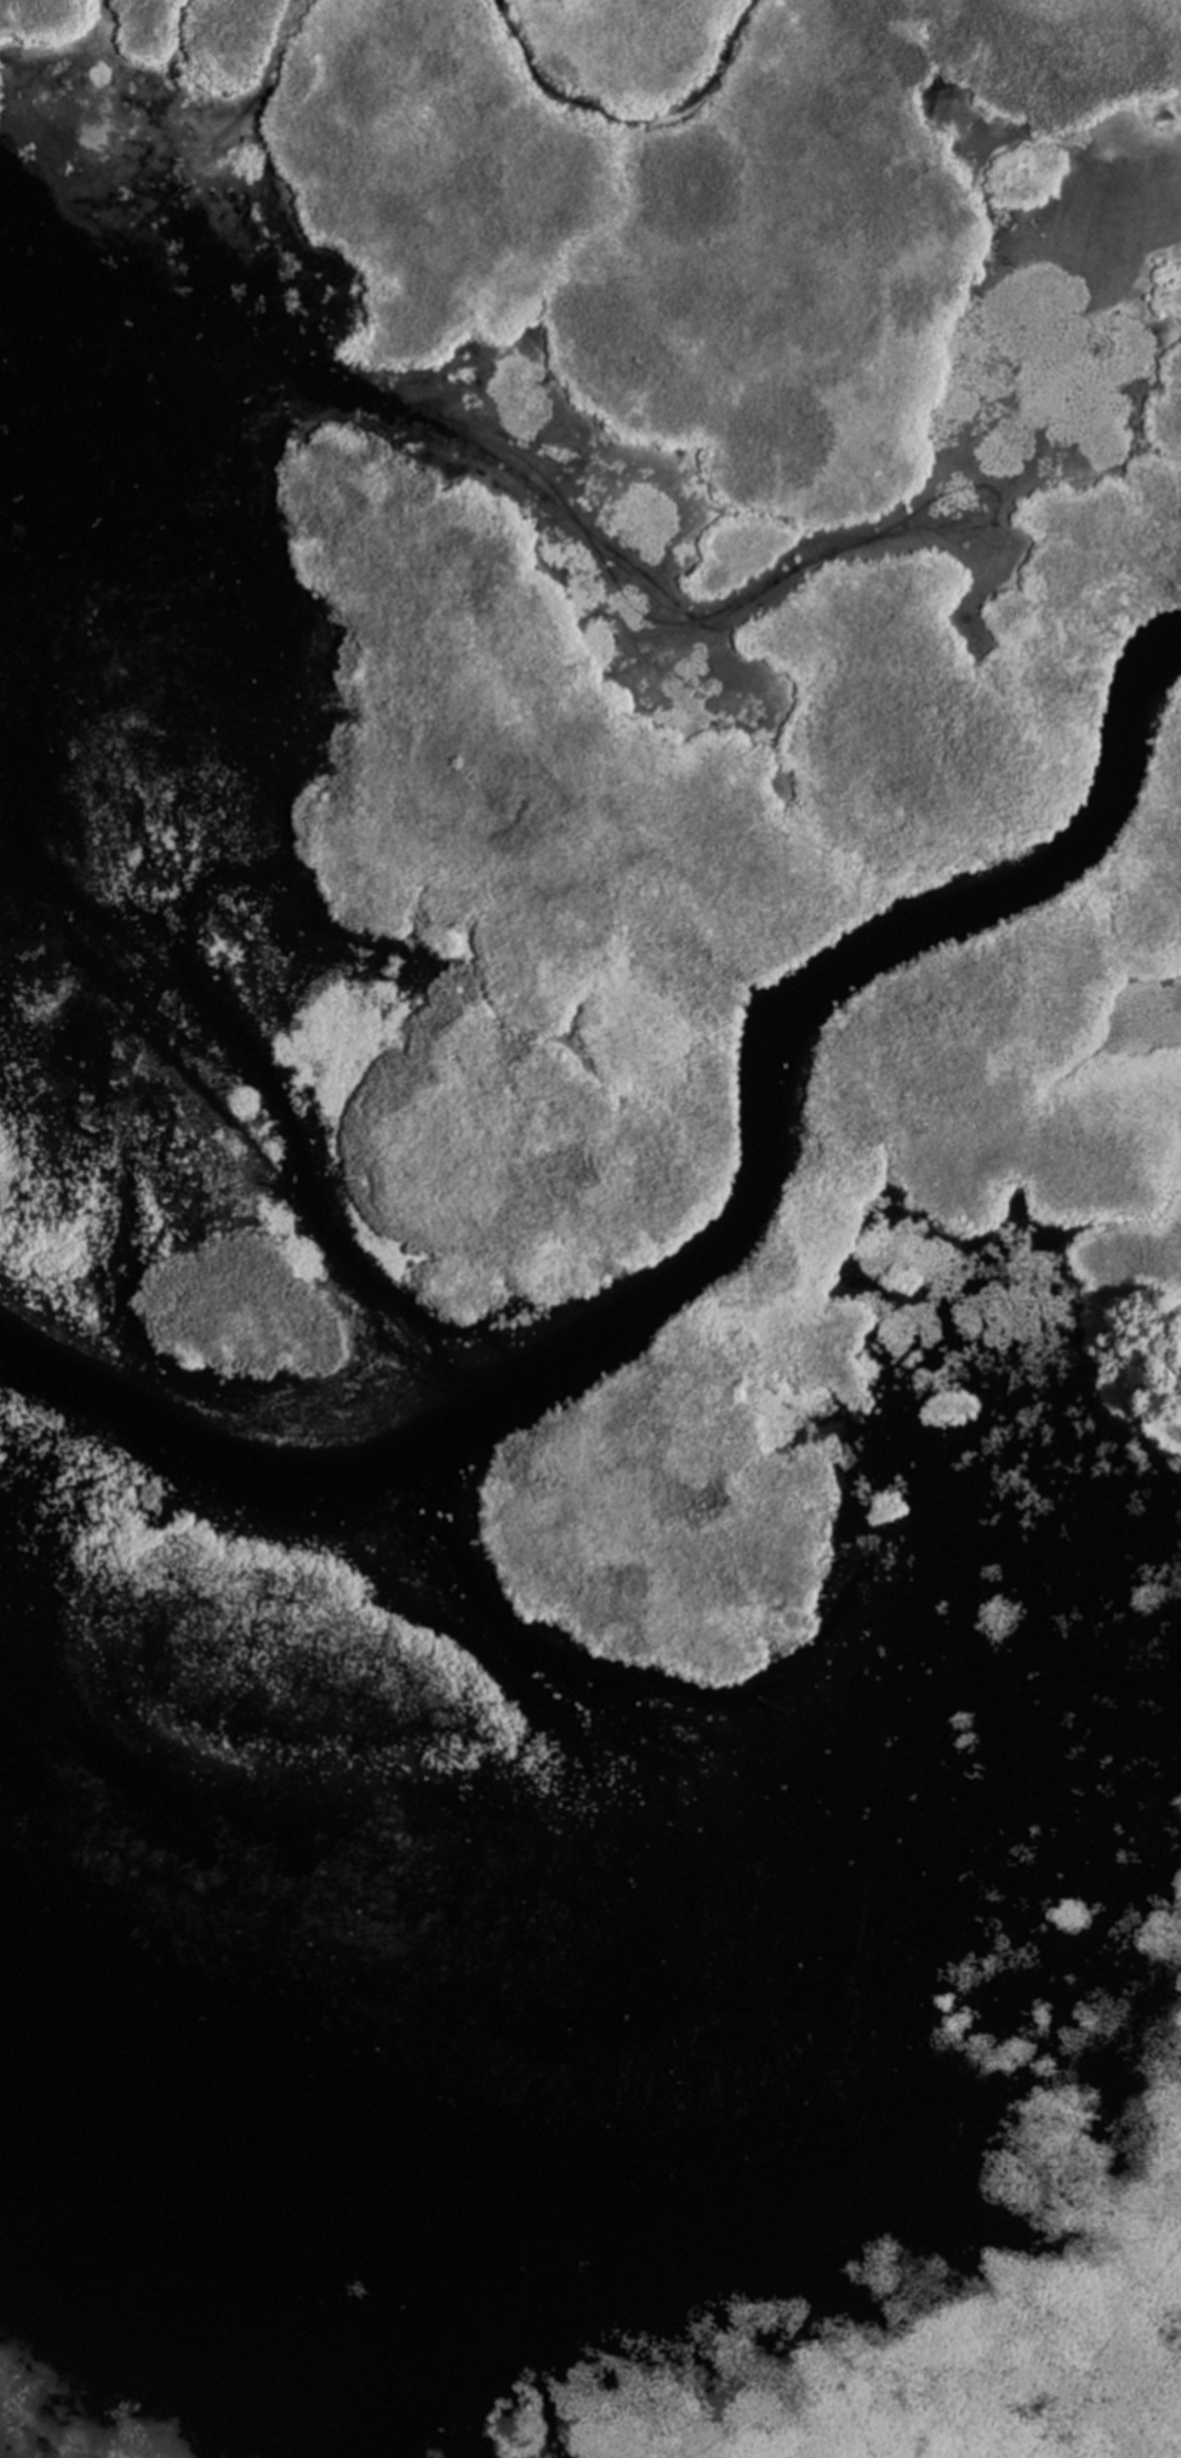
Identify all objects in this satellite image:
river: (714, 1242)

